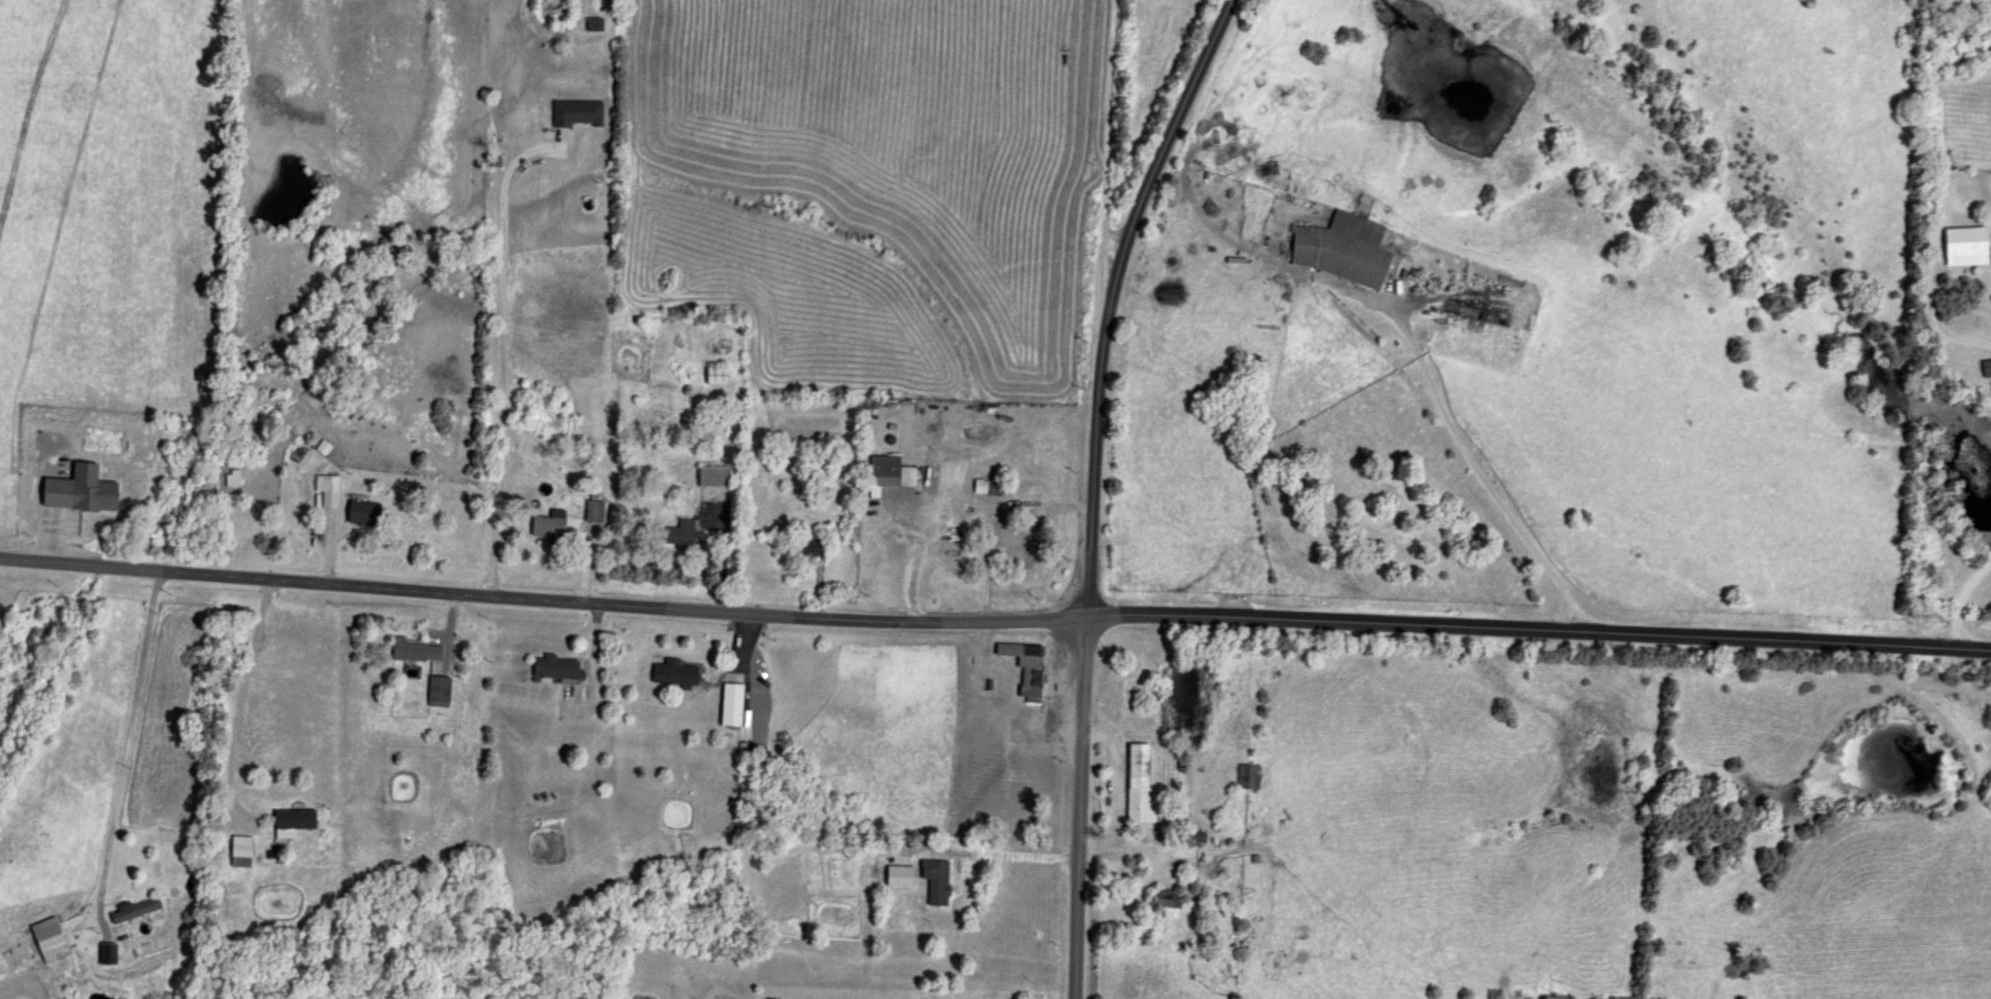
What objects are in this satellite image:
road: (26, 102)
building: (574, 113)
road: (1102, 148)
building: (1961, 246)
building: (1338, 249)
road: (1109, 297)
road: (1936, 311)
road: (498, 353)
building: (1984, 368)
building: (712, 375)
road: (1435, 406)
building: (48, 449)
building: (884, 474)
building: (708, 477)
building: (324, 484)
building: (993, 490)
building: (53, 492)
building: (590, 511)
building: (360, 513)
building: (546, 524)
building: (674, 534)
building: (1005, 545)
building: (803, 547)
road: (541, 598)
road: (1962, 601)
road: (1536, 631)
building: (411, 651)
building: (549, 668)
building: (1021, 668)
building: (670, 673)
road: (236, 700)
building: (727, 705)
road: (123, 747)
road: (1108, 777)
building: (1244, 777)
building: (1134, 786)
road: (1077, 808)
building: (288, 822)
road: (1163, 849)
building: (236, 851)
road: (1003, 854)
building: (894, 877)
building: (932, 882)
building: (1159, 898)
building: (131, 910)
building: (44, 941)
building: (101, 954)

